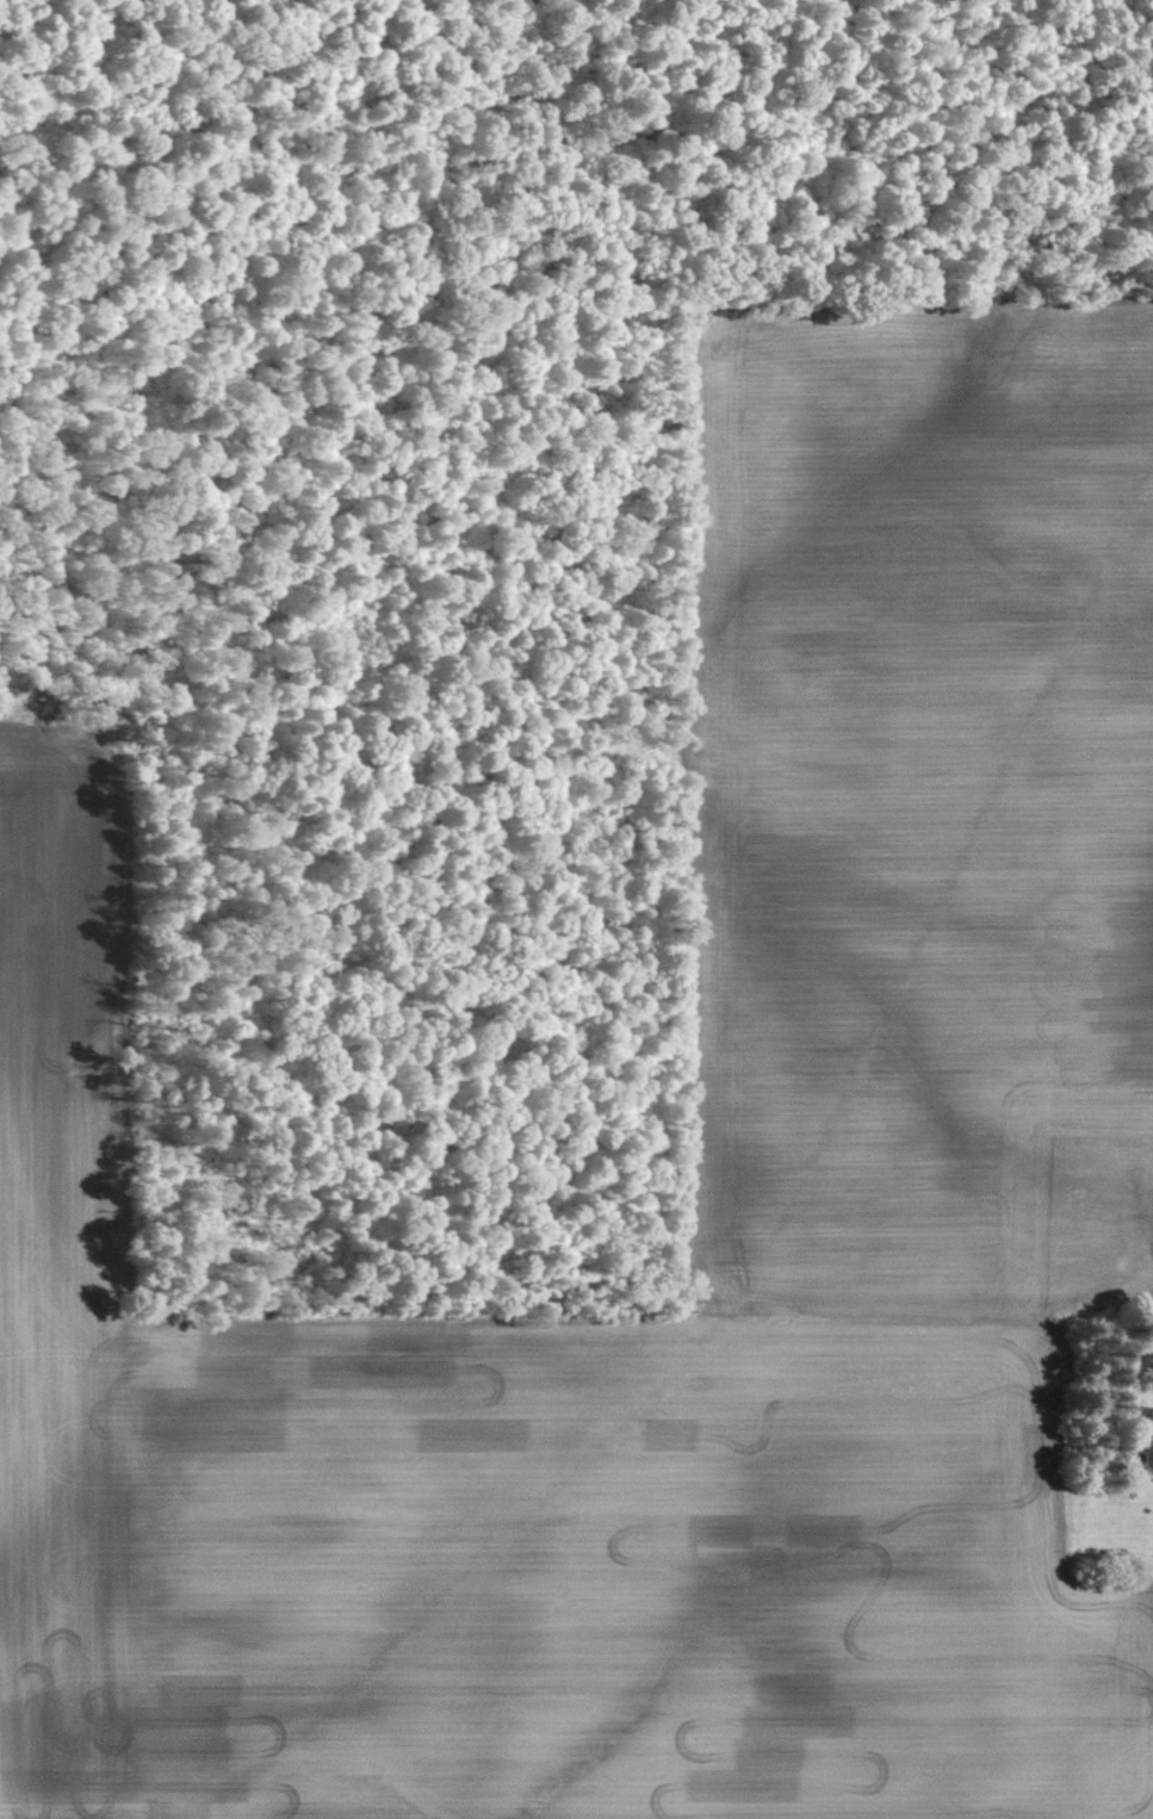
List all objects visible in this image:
building: (1135, 1436)

